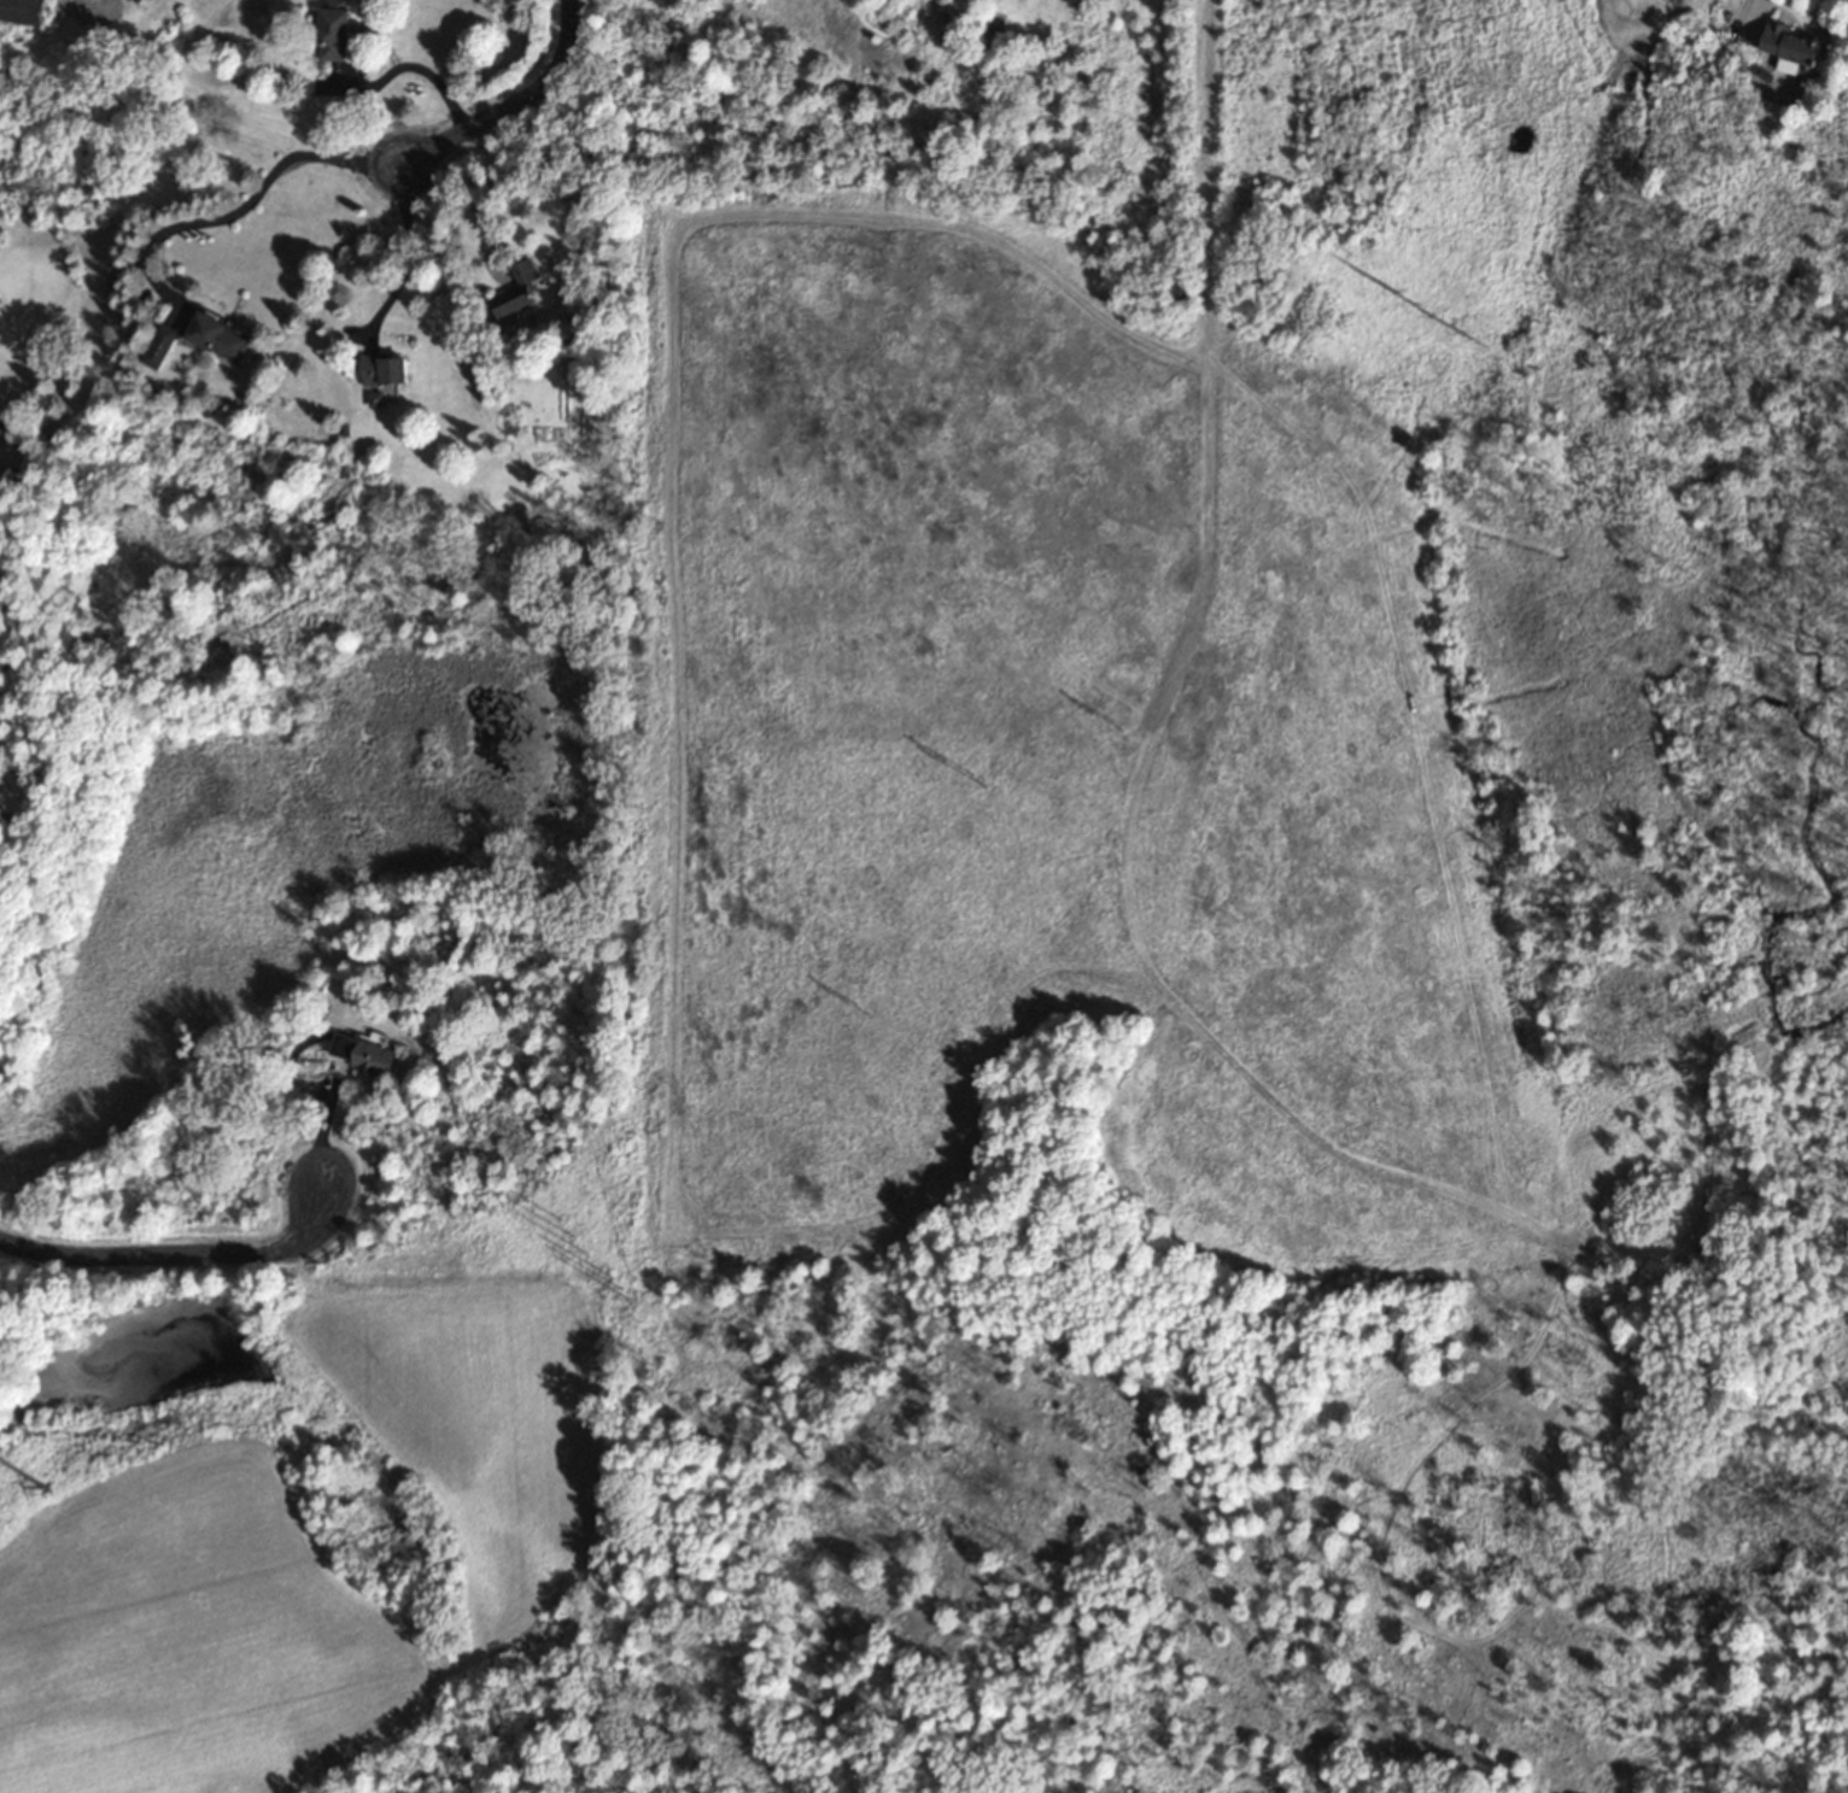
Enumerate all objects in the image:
building: (25, 12)
building: (339, 33)
building: (1795, 49)
road: (415, 69)
road: (511, 105)
road: (487, 197)
road: (246, 204)
road: (405, 262)
building: (520, 293)
power tower: (1415, 306)
building: (222, 339)
power tower: (1480, 345)
building: (162, 347)
building: (388, 373)
power tower: (1119, 729)
power tower: (981, 786)
power tower: (866, 1014)
building: (363, 1056)
road: (322, 1131)
power tower: (568, 1235)
road: (176, 1255)
power tower: (615, 1289)
power tower: (46, 1489)

